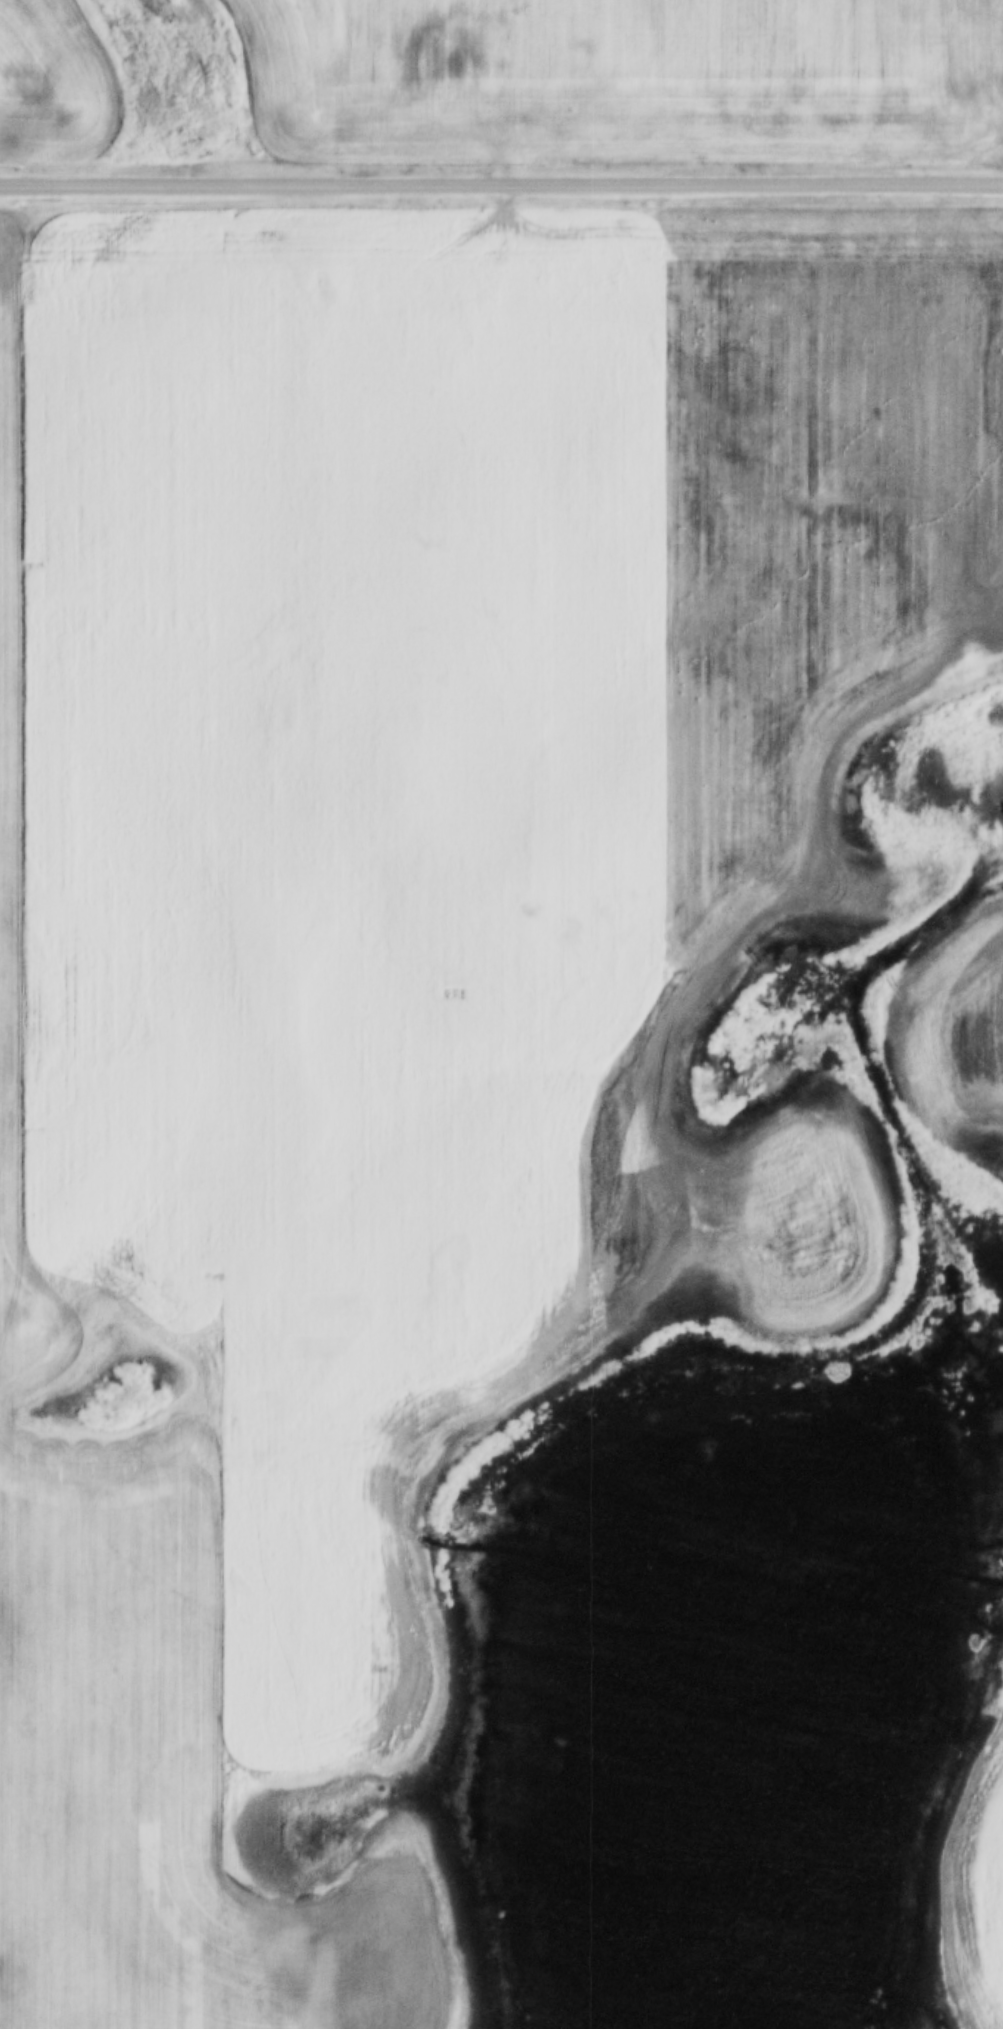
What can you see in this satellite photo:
road: (501, 179)

